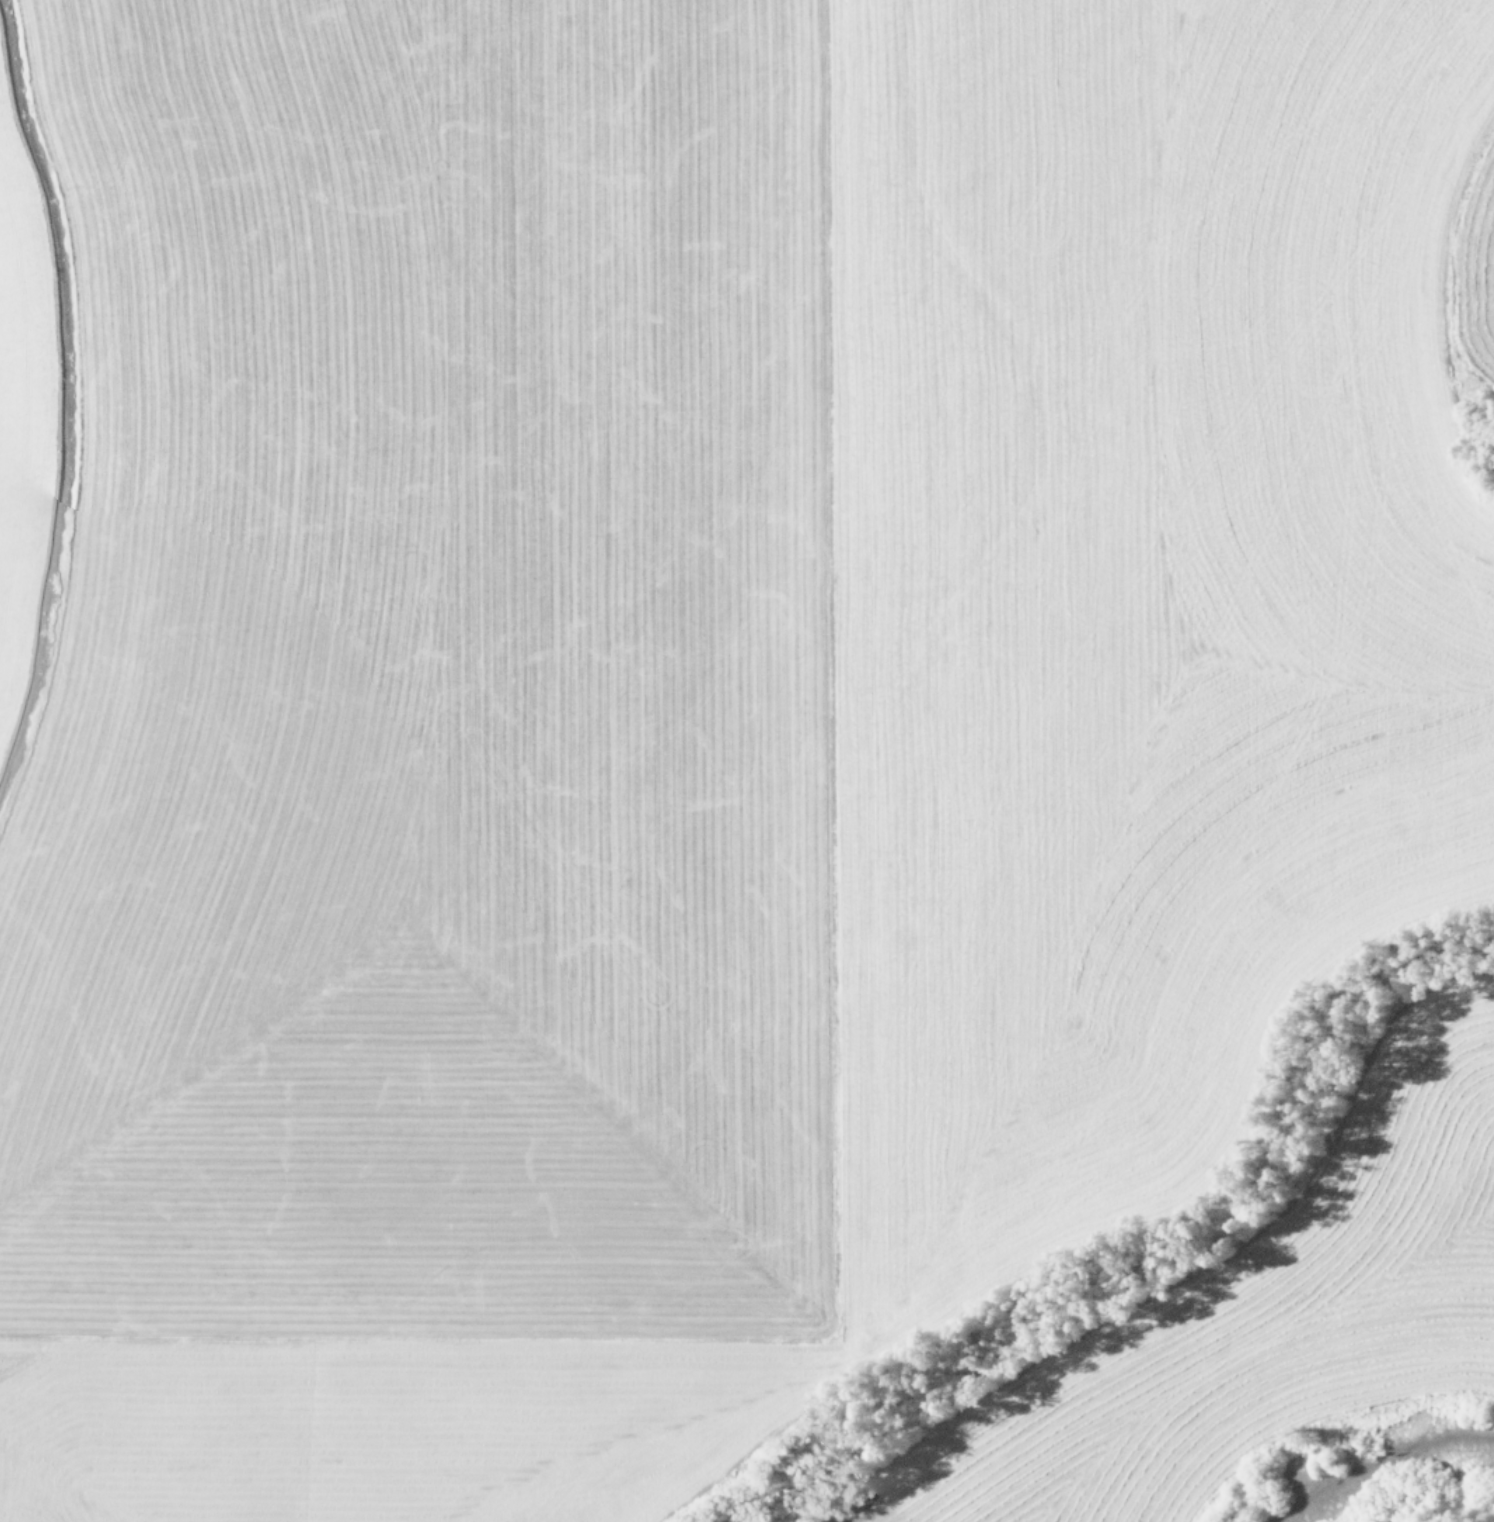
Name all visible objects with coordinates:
crop: (747, 761)

